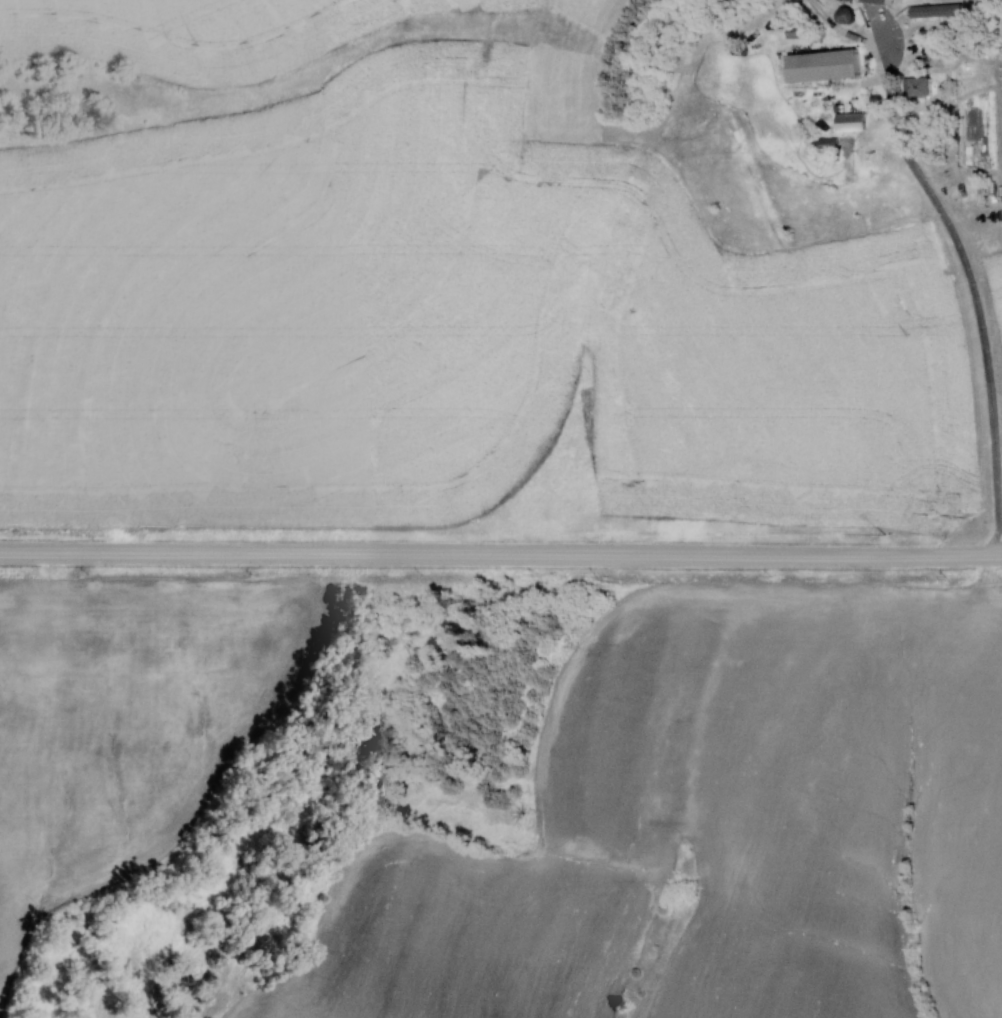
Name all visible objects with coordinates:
building: (734, 0)
building: (832, 0)
building: (875, 1)
building: (932, 11)
building: (840, 16)
building: (790, 26)
building: (819, 65)
building: (914, 86)
building: (845, 122)
road: (971, 283)
road: (501, 554)

